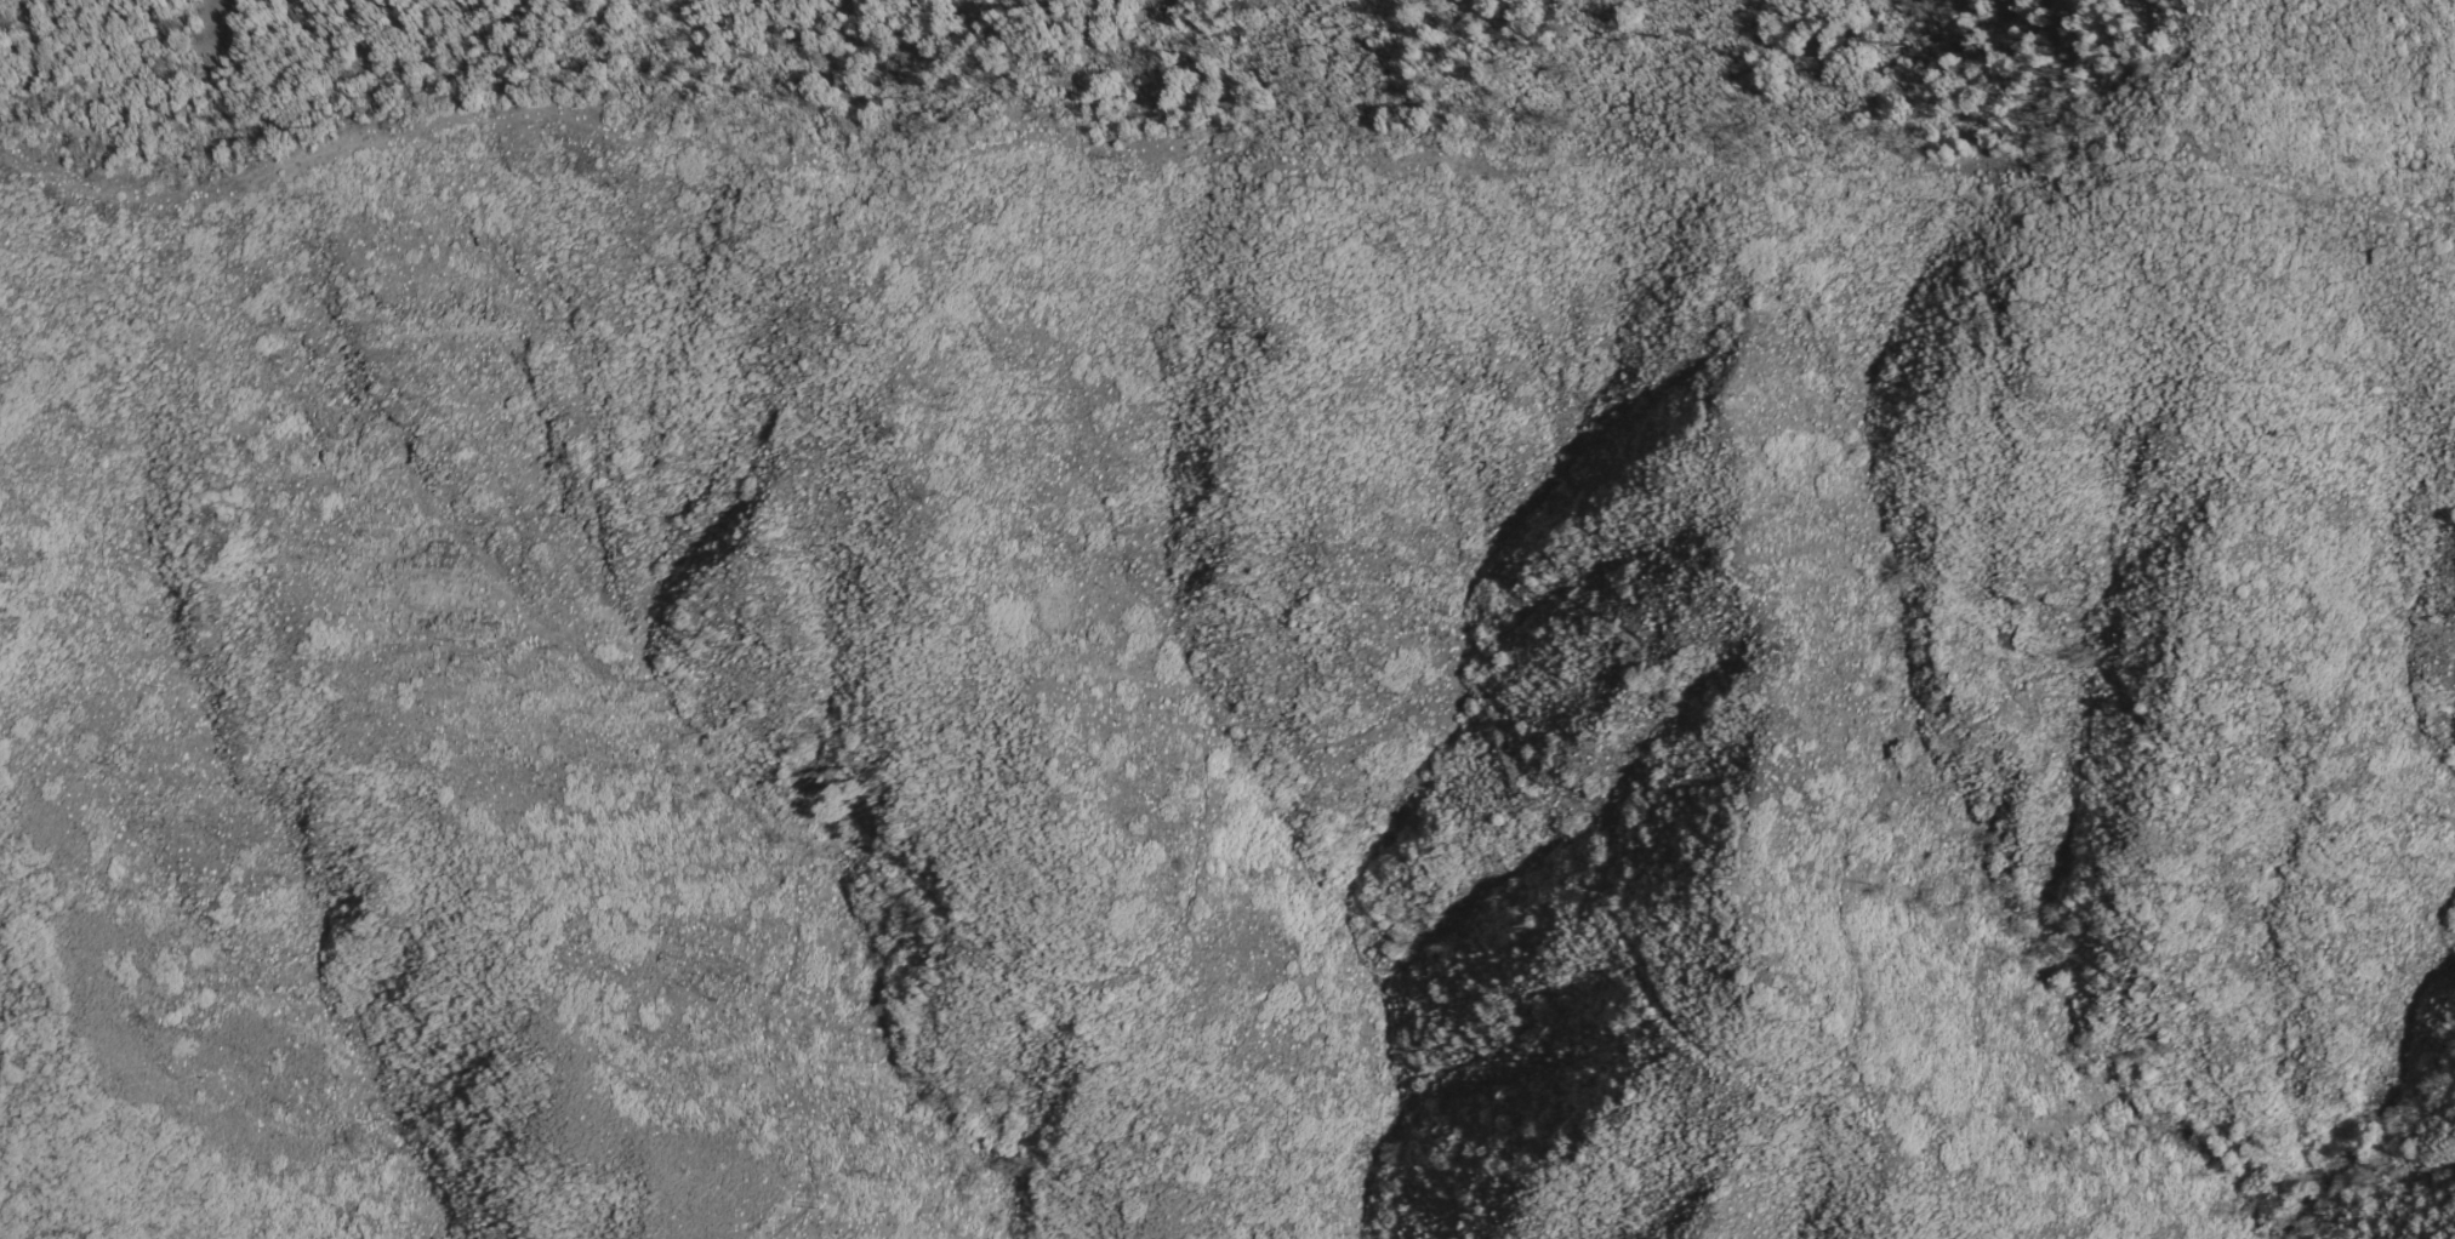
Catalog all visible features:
road: (1601, 809)

